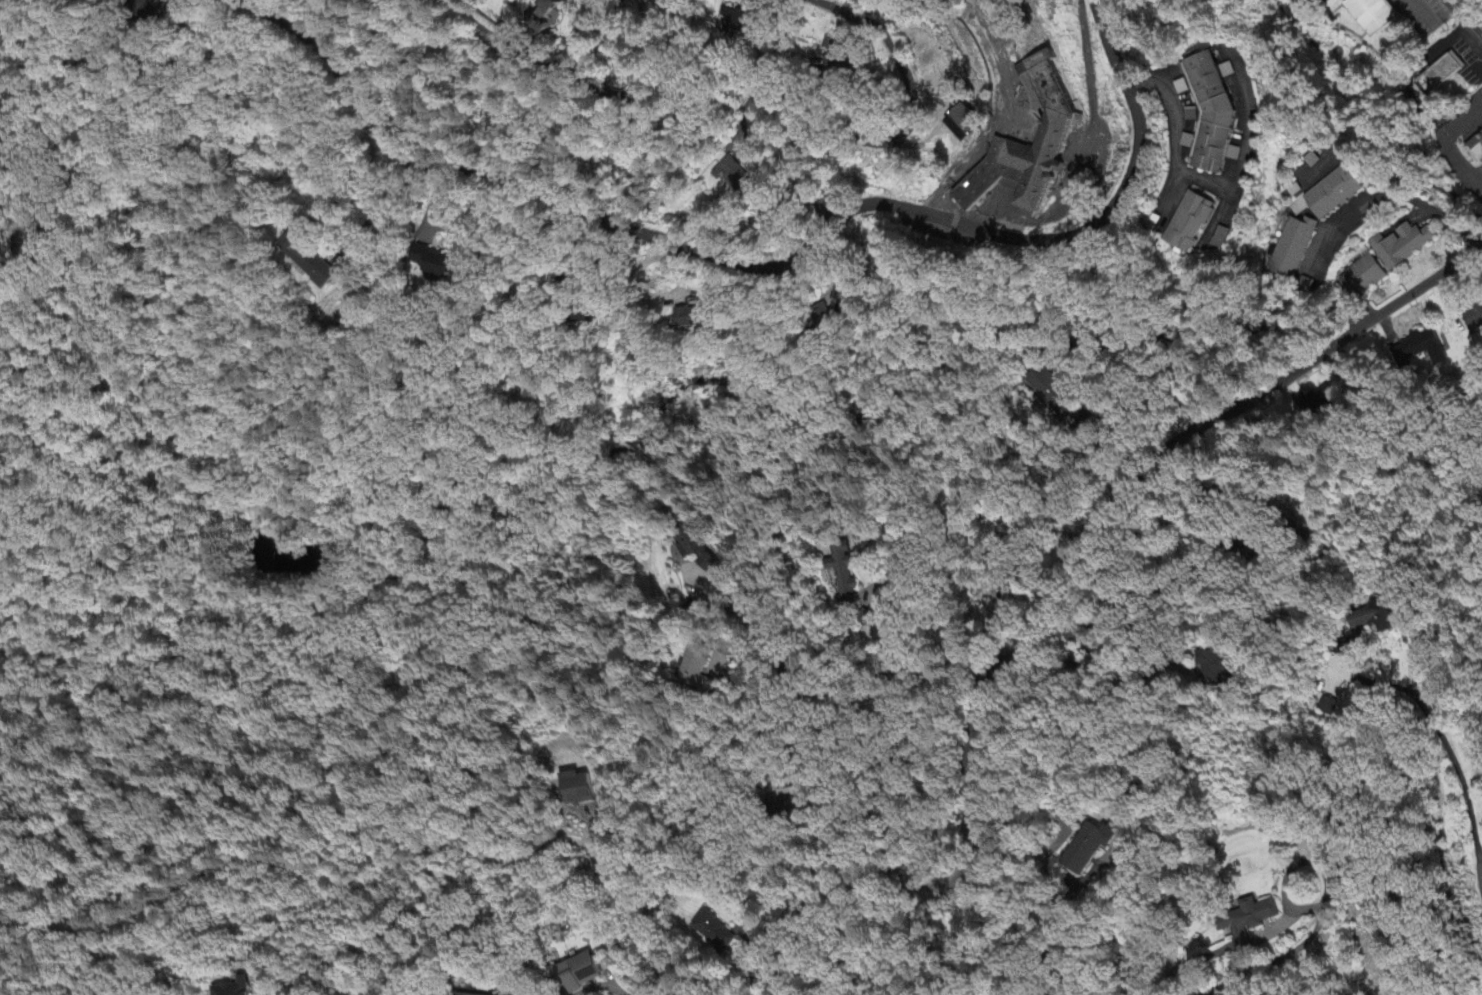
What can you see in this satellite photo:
building: (551, 12)
road: (1194, 14)
building: (1373, 14)
road: (1466, 18)
building: (741, 22)
building: (838, 56)
building: (1447, 70)
road: (576, 83)
road: (1416, 101)
building: (1215, 114)
building: (1193, 115)
building: (968, 124)
road: (895, 137)
building: (1188, 141)
building: (1031, 148)
building: (1476, 148)
road: (973, 157)
building: (737, 177)
road: (1207, 182)
building: (1338, 193)
road: (1391, 194)
road: (382, 210)
building: (1191, 222)
building: (1223, 238)
building: (1292, 246)
building: (1401, 246)
building: (310, 258)
building: (438, 265)
road: (754, 267)
building: (1362, 277)
building: (1473, 317)
building: (693, 318)
building: (1420, 349)
building: (1053, 398)
building: (1315, 401)
road: (1144, 404)
road: (1148, 463)
road: (1195, 501)
building: (698, 548)
building: (844, 572)
road: (1136, 583)
road: (732, 609)
road: (876, 609)
building: (1377, 621)
building: (1212, 665)
building: (698, 670)
road: (875, 672)
building: (1334, 679)
building: (1324, 707)
road: (1460, 773)
building: (577, 789)
building: (792, 802)
building: (1088, 847)
road: (901, 881)
road: (1079, 883)
road: (1009, 905)
road: (631, 921)
building: (1252, 923)
building: (712, 932)
road: (1296, 952)
building: (581, 972)
building: (241, 988)
building: (463, 994)

